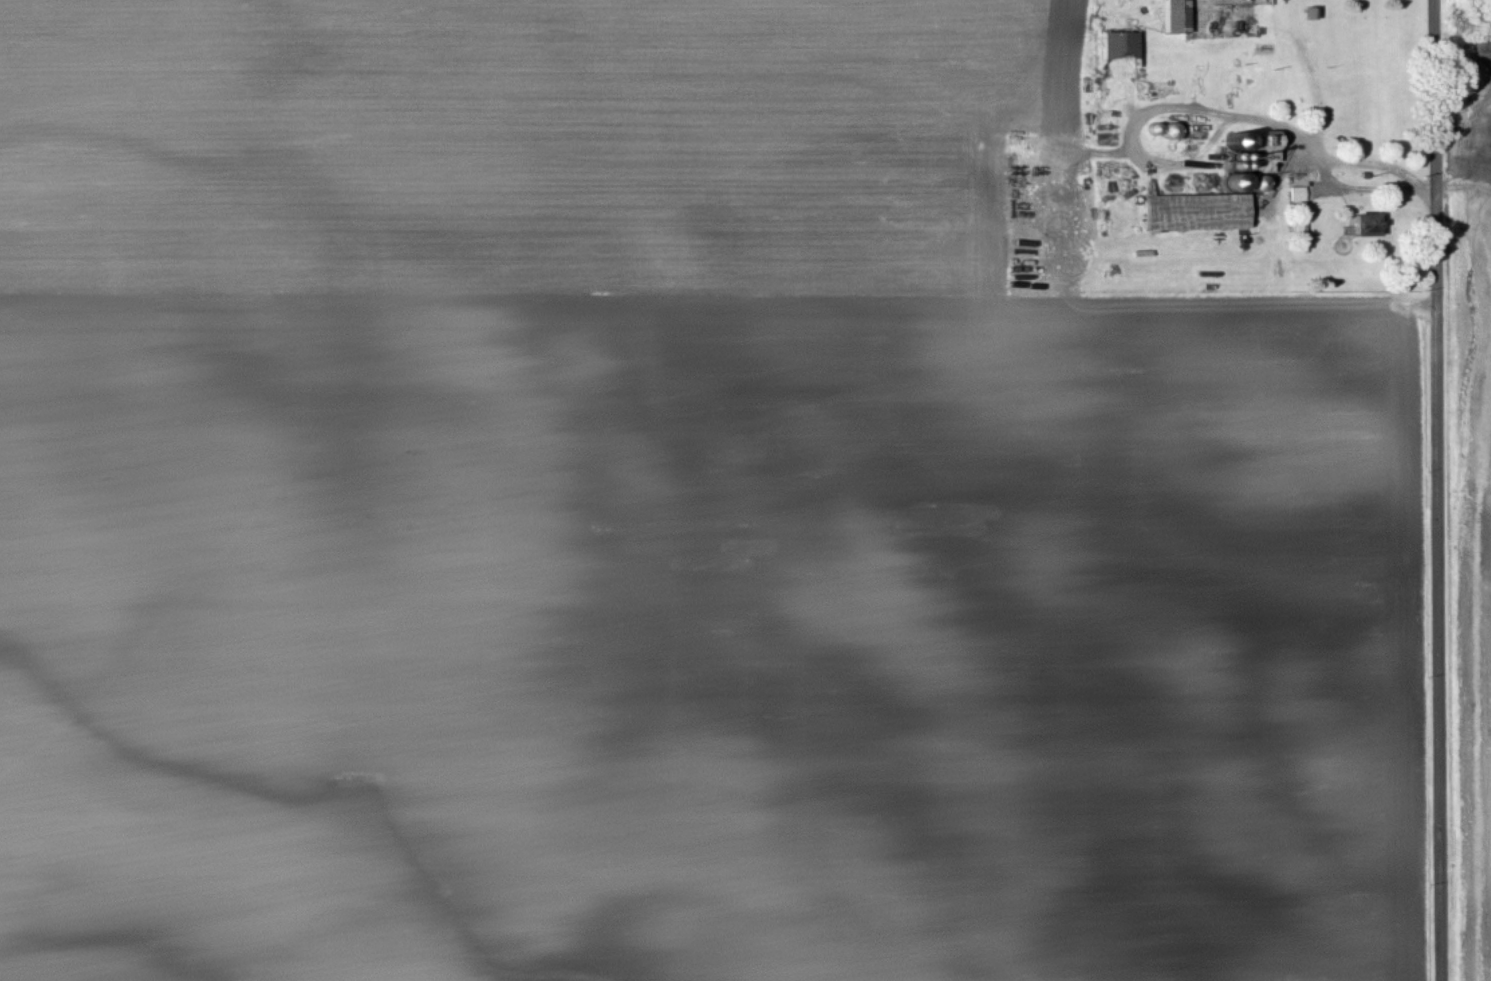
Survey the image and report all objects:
building: (1178, 17)
building: (1122, 46)
building: (1299, 195)
building: (1369, 227)
road: (1437, 490)
road: (1279, 501)

